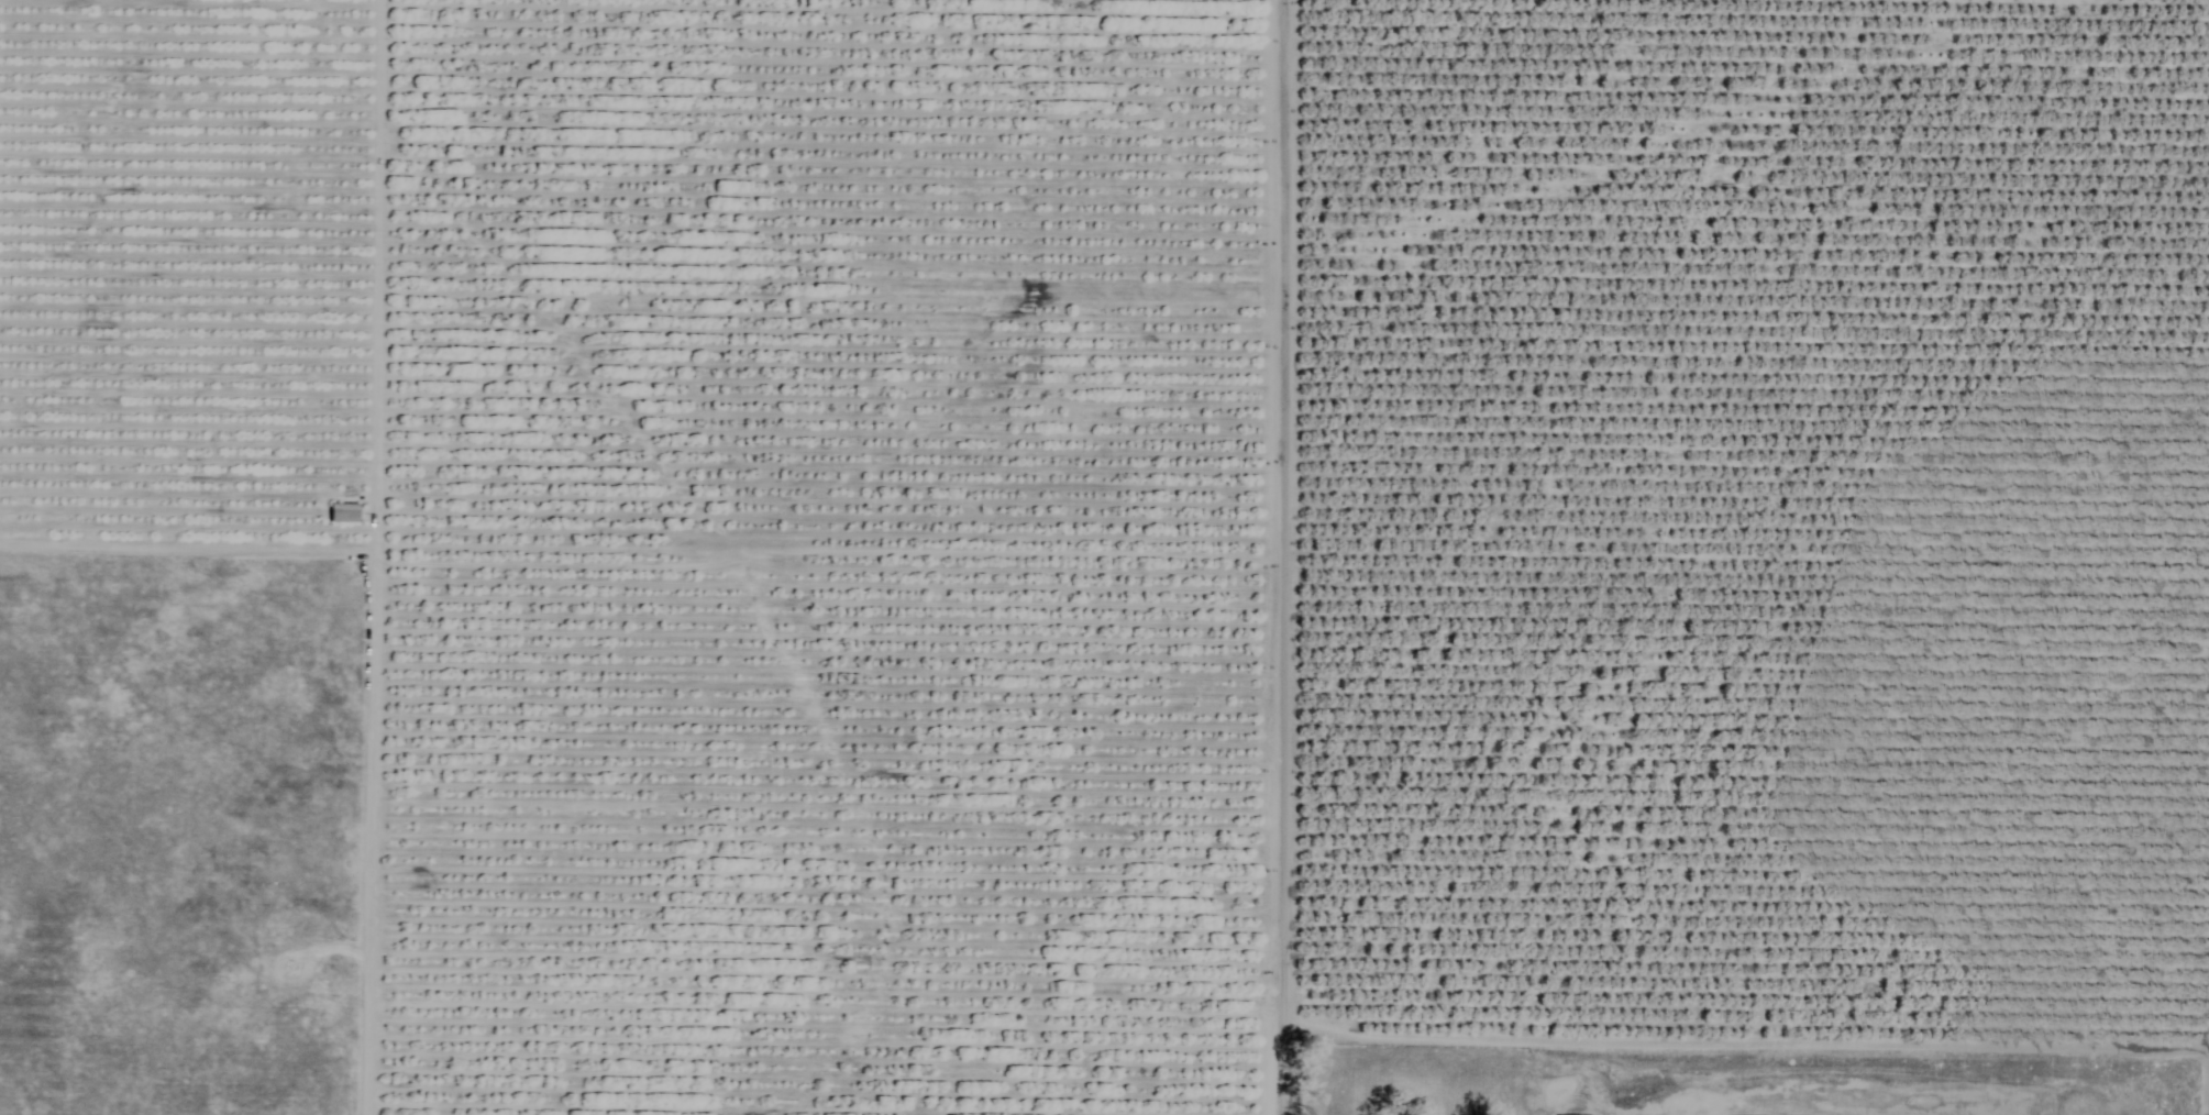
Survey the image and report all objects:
crop: (1177, 521)
road: (1277, 557)

